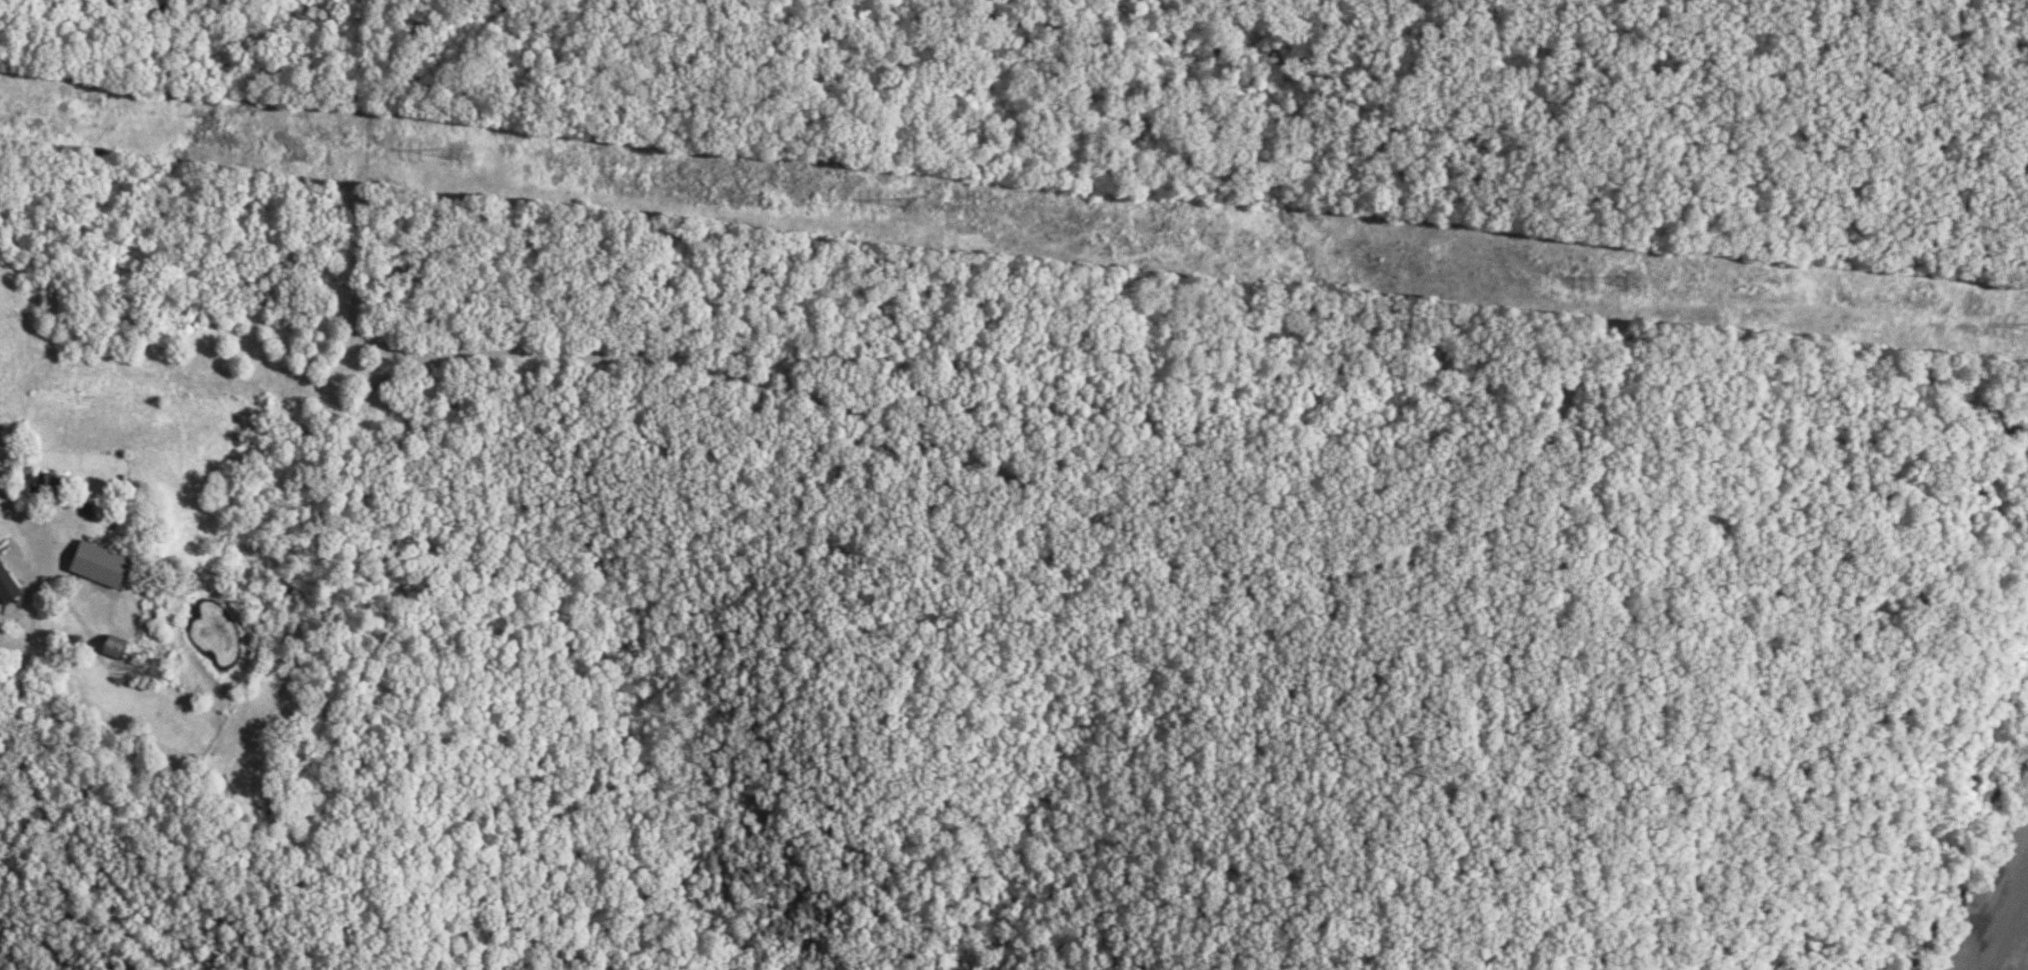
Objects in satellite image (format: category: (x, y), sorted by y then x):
power tower: (454, 156)
power tower: (1628, 287)
building: (43, 482)
building: (100, 565)
building: (116, 649)
building: (151, 670)
road: (25, 747)

